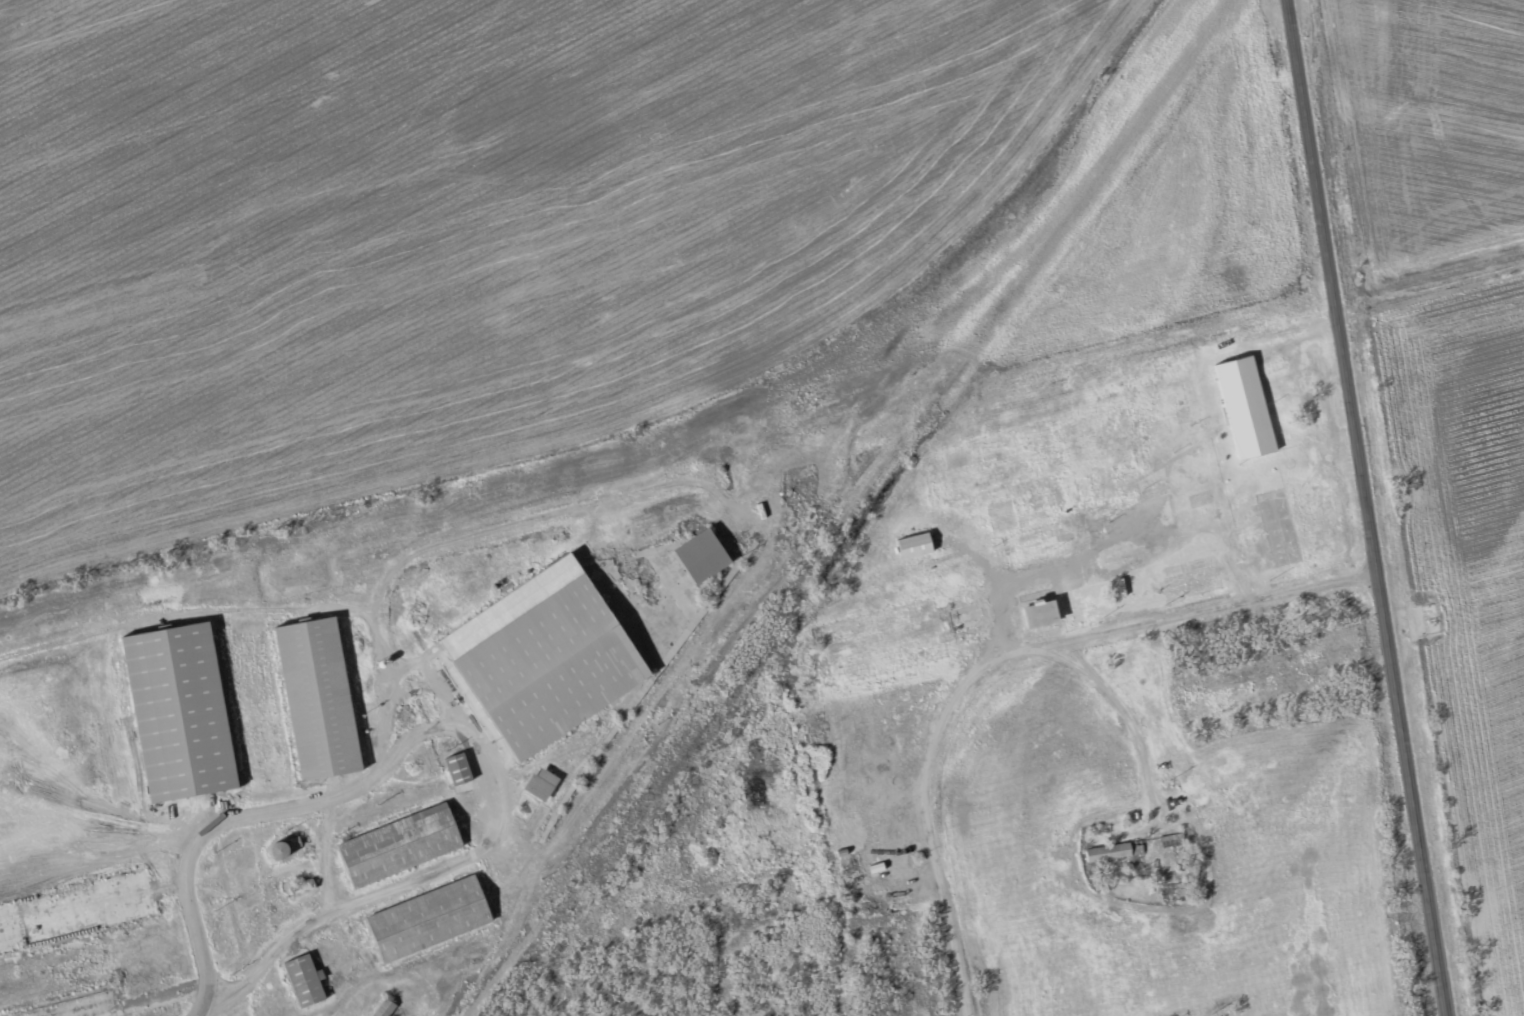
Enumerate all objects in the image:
building: (1244, 407)
railway: (758, 417)
road: (1367, 508)
building: (913, 544)
building: (700, 555)
building: (1038, 613)
road: (1107, 625)
building: (541, 656)
building: (315, 698)
building: (176, 711)
road: (456, 730)
building: (457, 768)
building: (539, 783)
building: (398, 845)
building: (1114, 851)
road: (324, 854)
building: (301, 888)
road: (942, 904)
building: (427, 919)
building: (303, 979)
building: (382, 1007)

